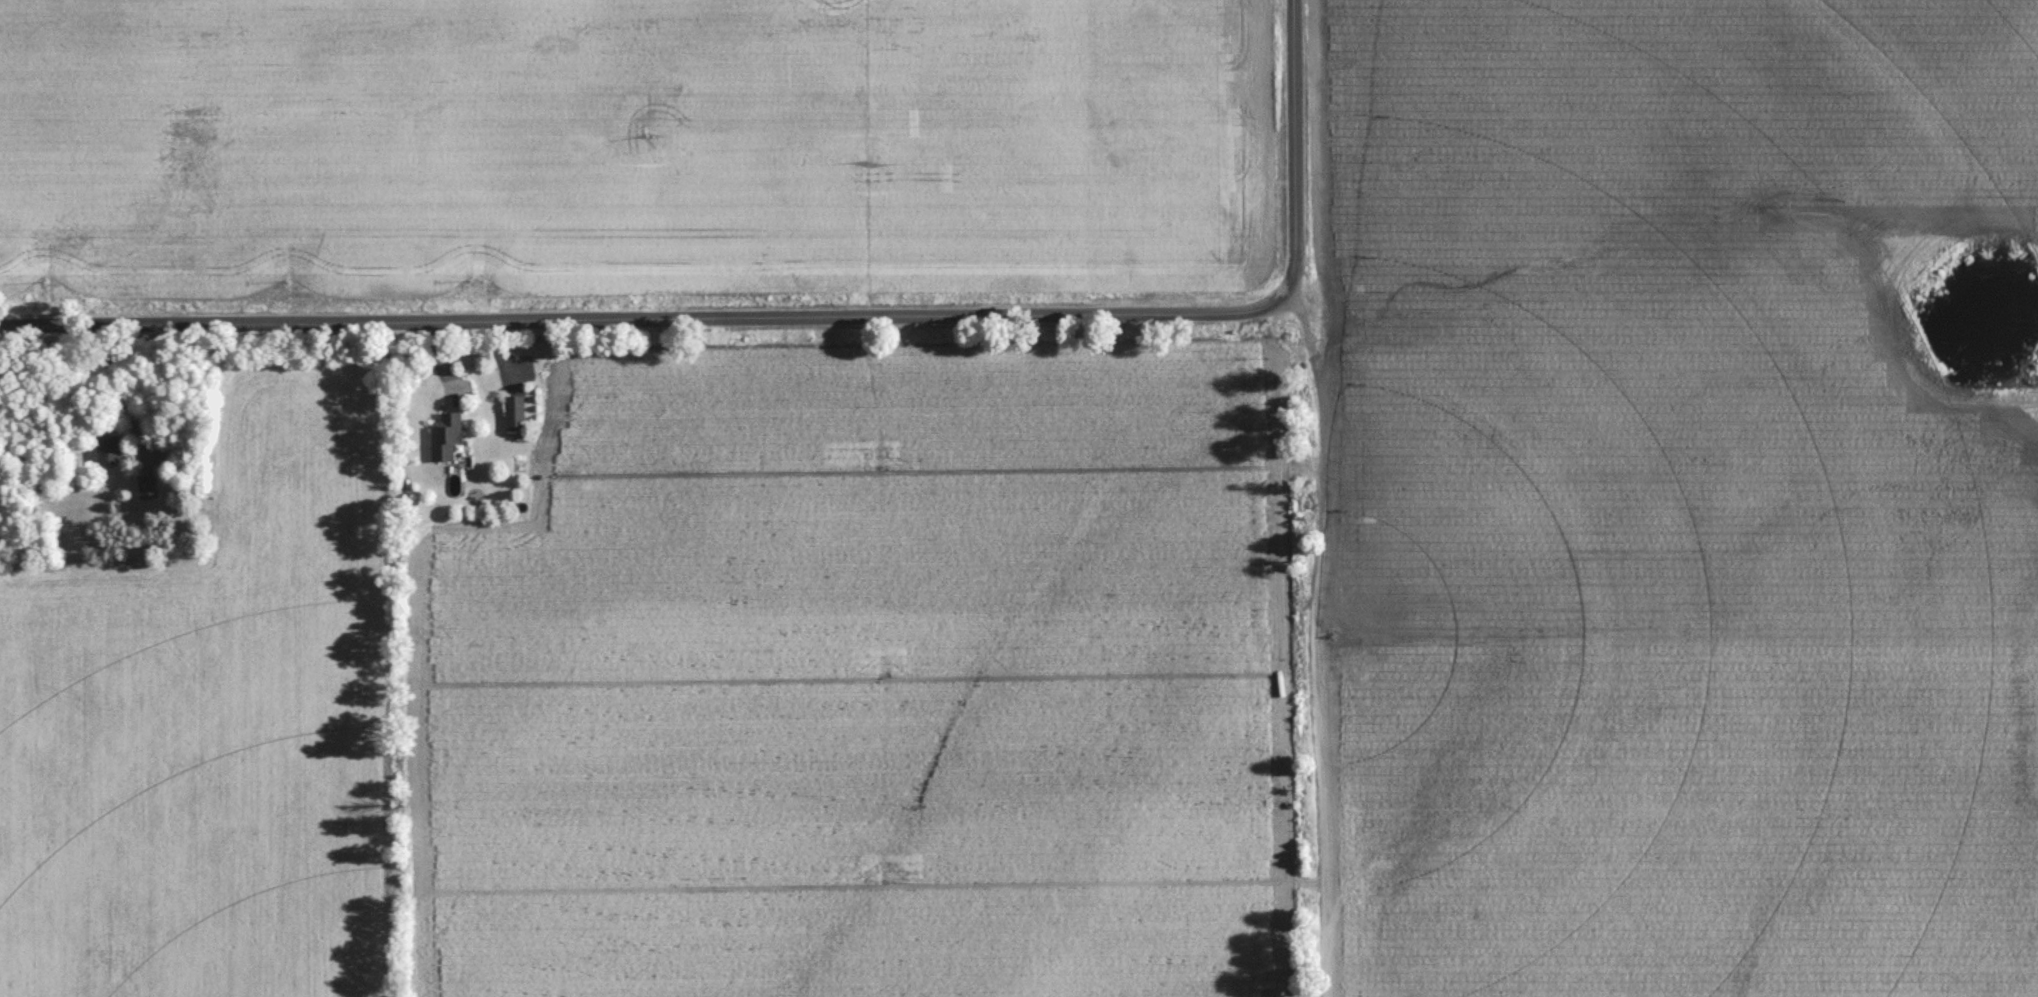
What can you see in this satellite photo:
road: (1292, 148)
road: (644, 317)
road: (1476, 335)
building: (513, 418)
building: (445, 441)
building: (109, 454)
building: (147, 491)
road: (1316, 652)

